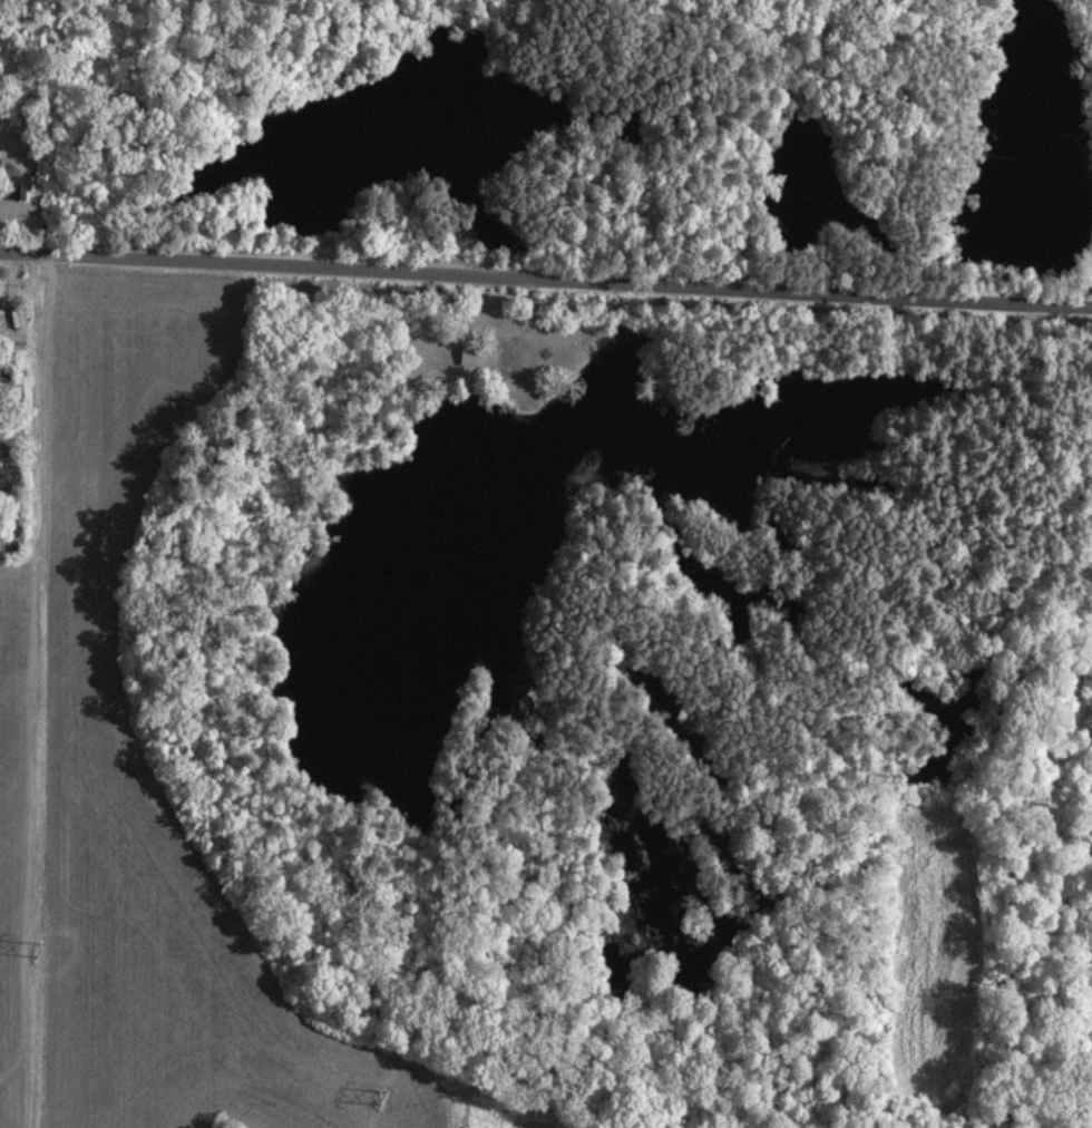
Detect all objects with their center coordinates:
building: (13, 186)
road: (546, 275)
building: (467, 356)
building: (0, 454)
power tower: (36, 945)
power tower: (377, 1095)

